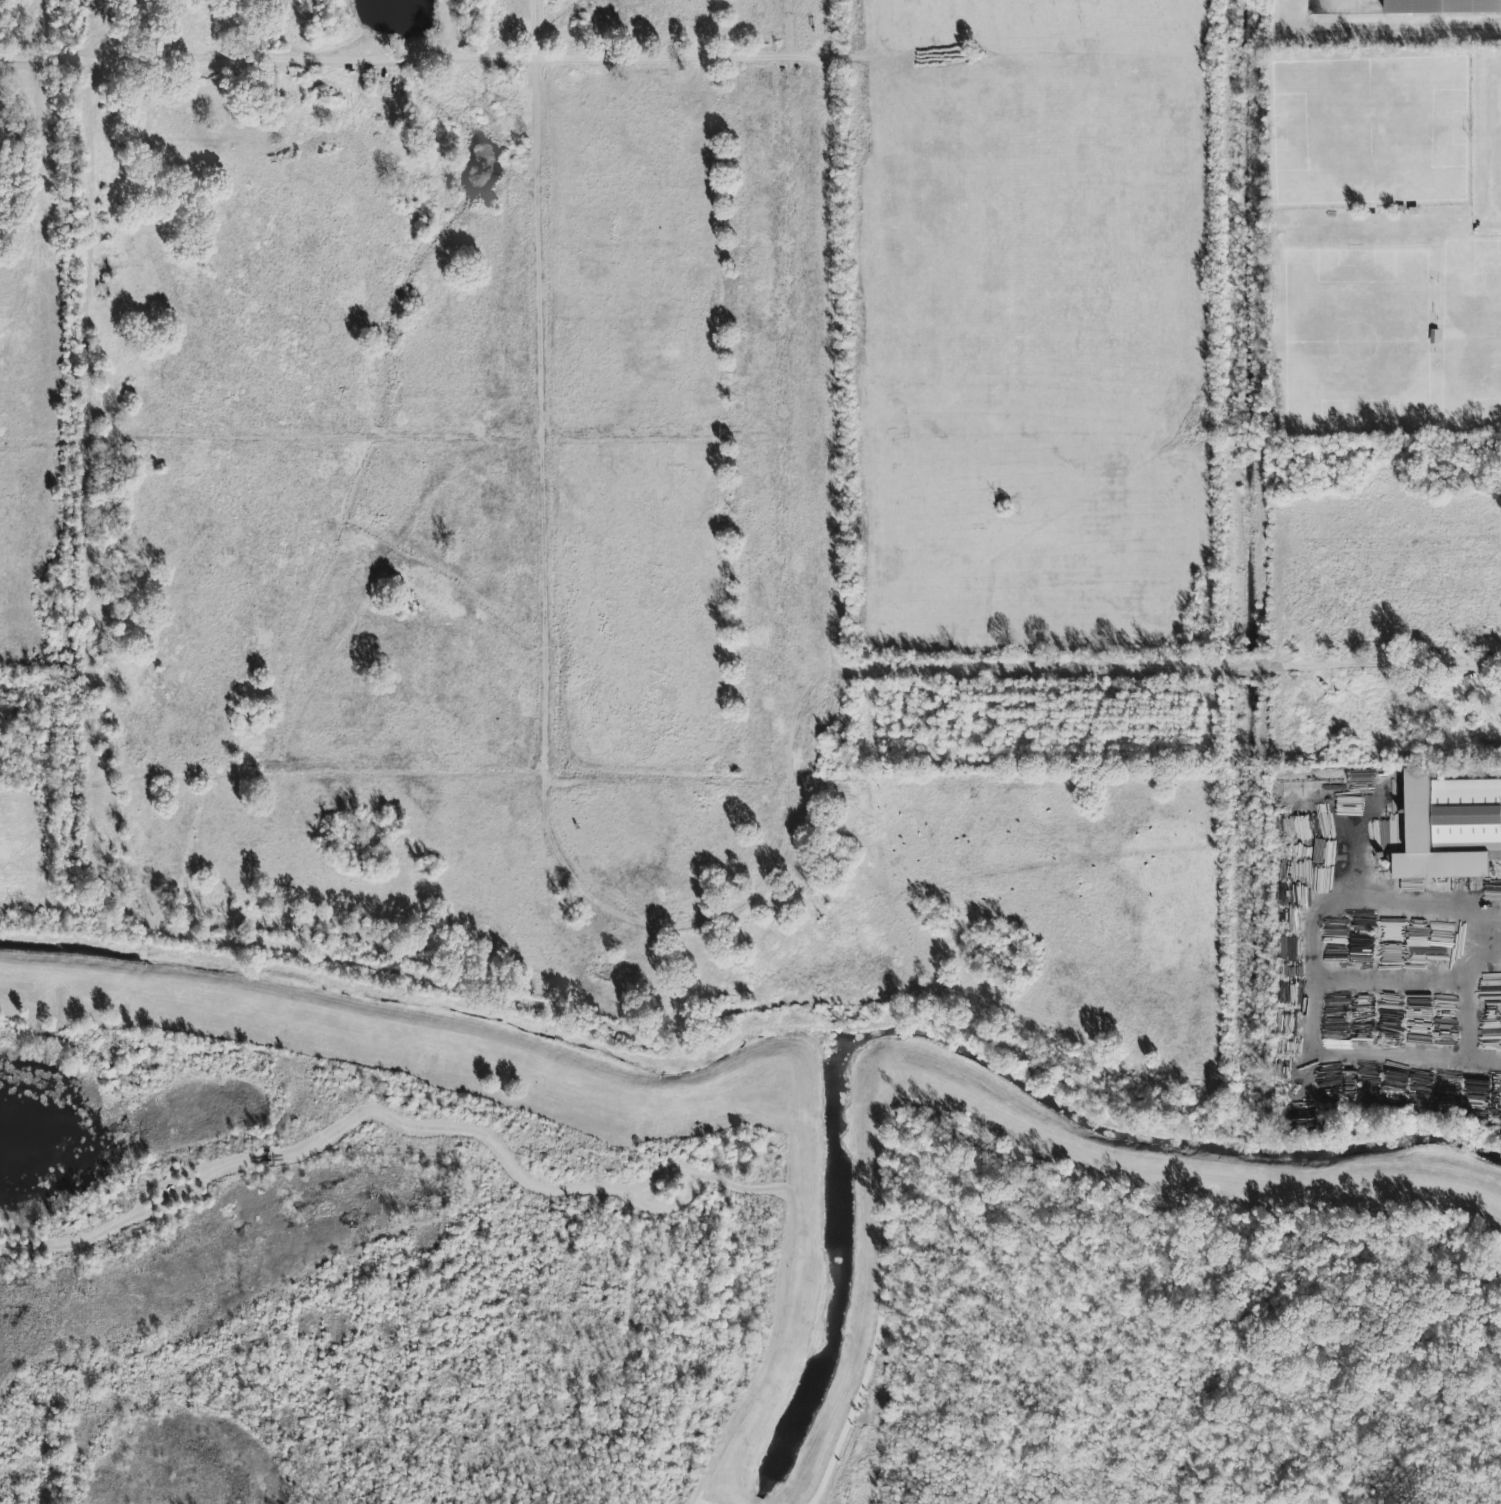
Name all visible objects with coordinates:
building: (1442, 7)
road: (454, 28)
road: (416, 65)
road: (1493, 145)
road: (835, 382)
road: (1244, 554)
road: (1169, 671)
road: (1171, 754)
road: (63, 776)
building: (1448, 828)
building: (1491, 890)
river: (761, 1022)
road: (337, 1131)
road: (694, 1185)
road: (7, 1247)
road: (29, 1249)
park: (686, 1269)
road: (785, 1309)

